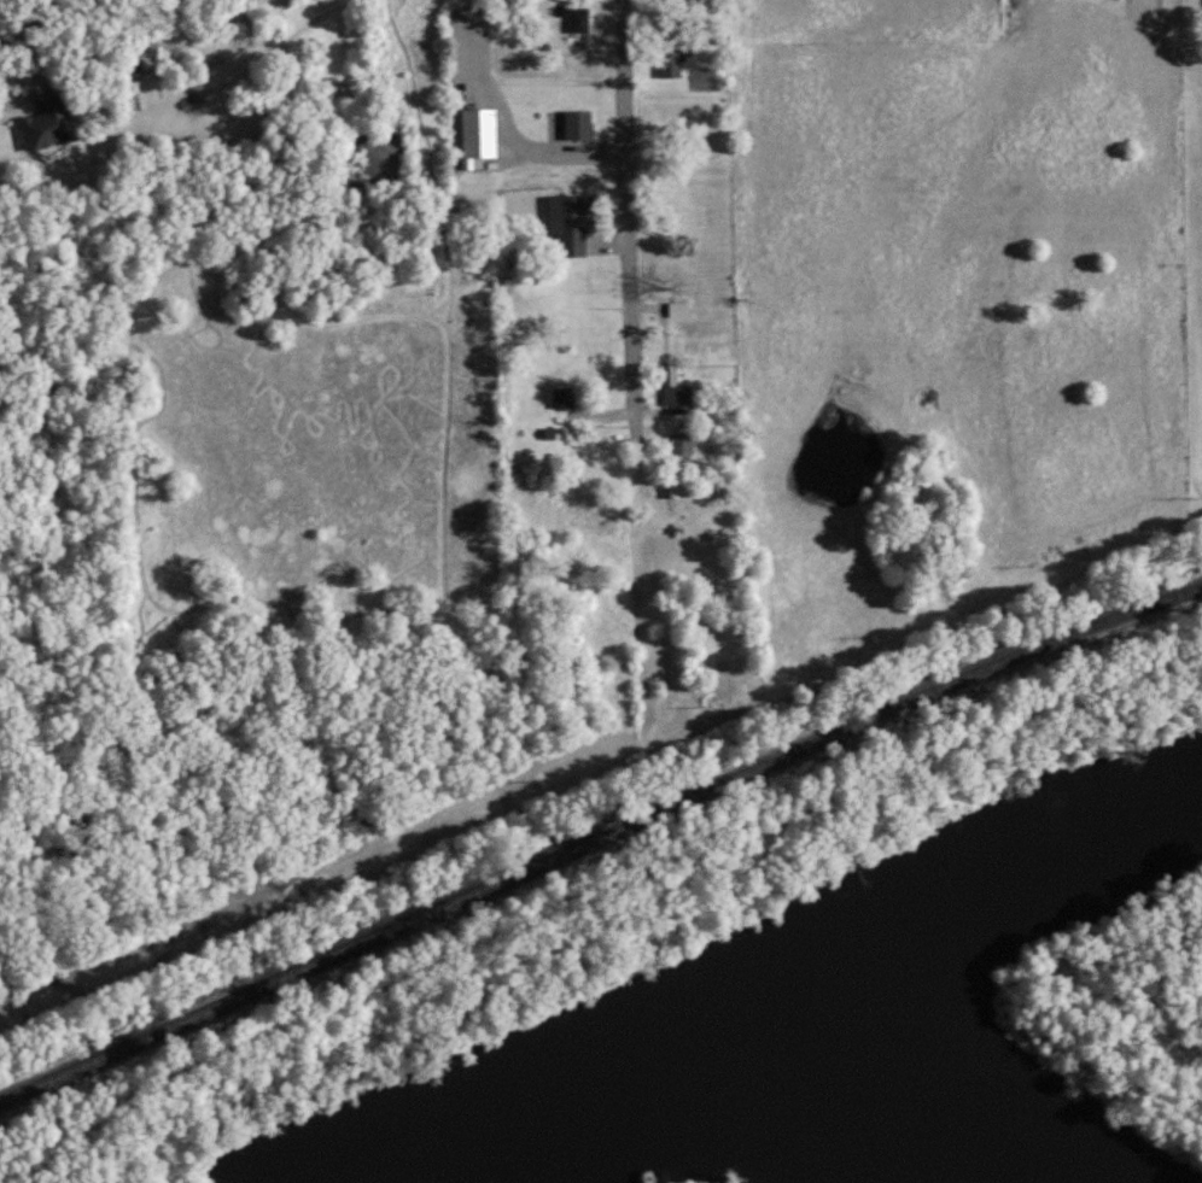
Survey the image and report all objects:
building: (577, 19)
building: (669, 63)
road: (25, 81)
road: (531, 83)
road: (434, 110)
building: (47, 124)
building: (576, 124)
building: (475, 136)
road: (630, 206)
building: (570, 223)
building: (677, 310)
building: (675, 393)
building: (561, 398)
building: (681, 444)
building: (673, 488)
railway: (597, 837)

